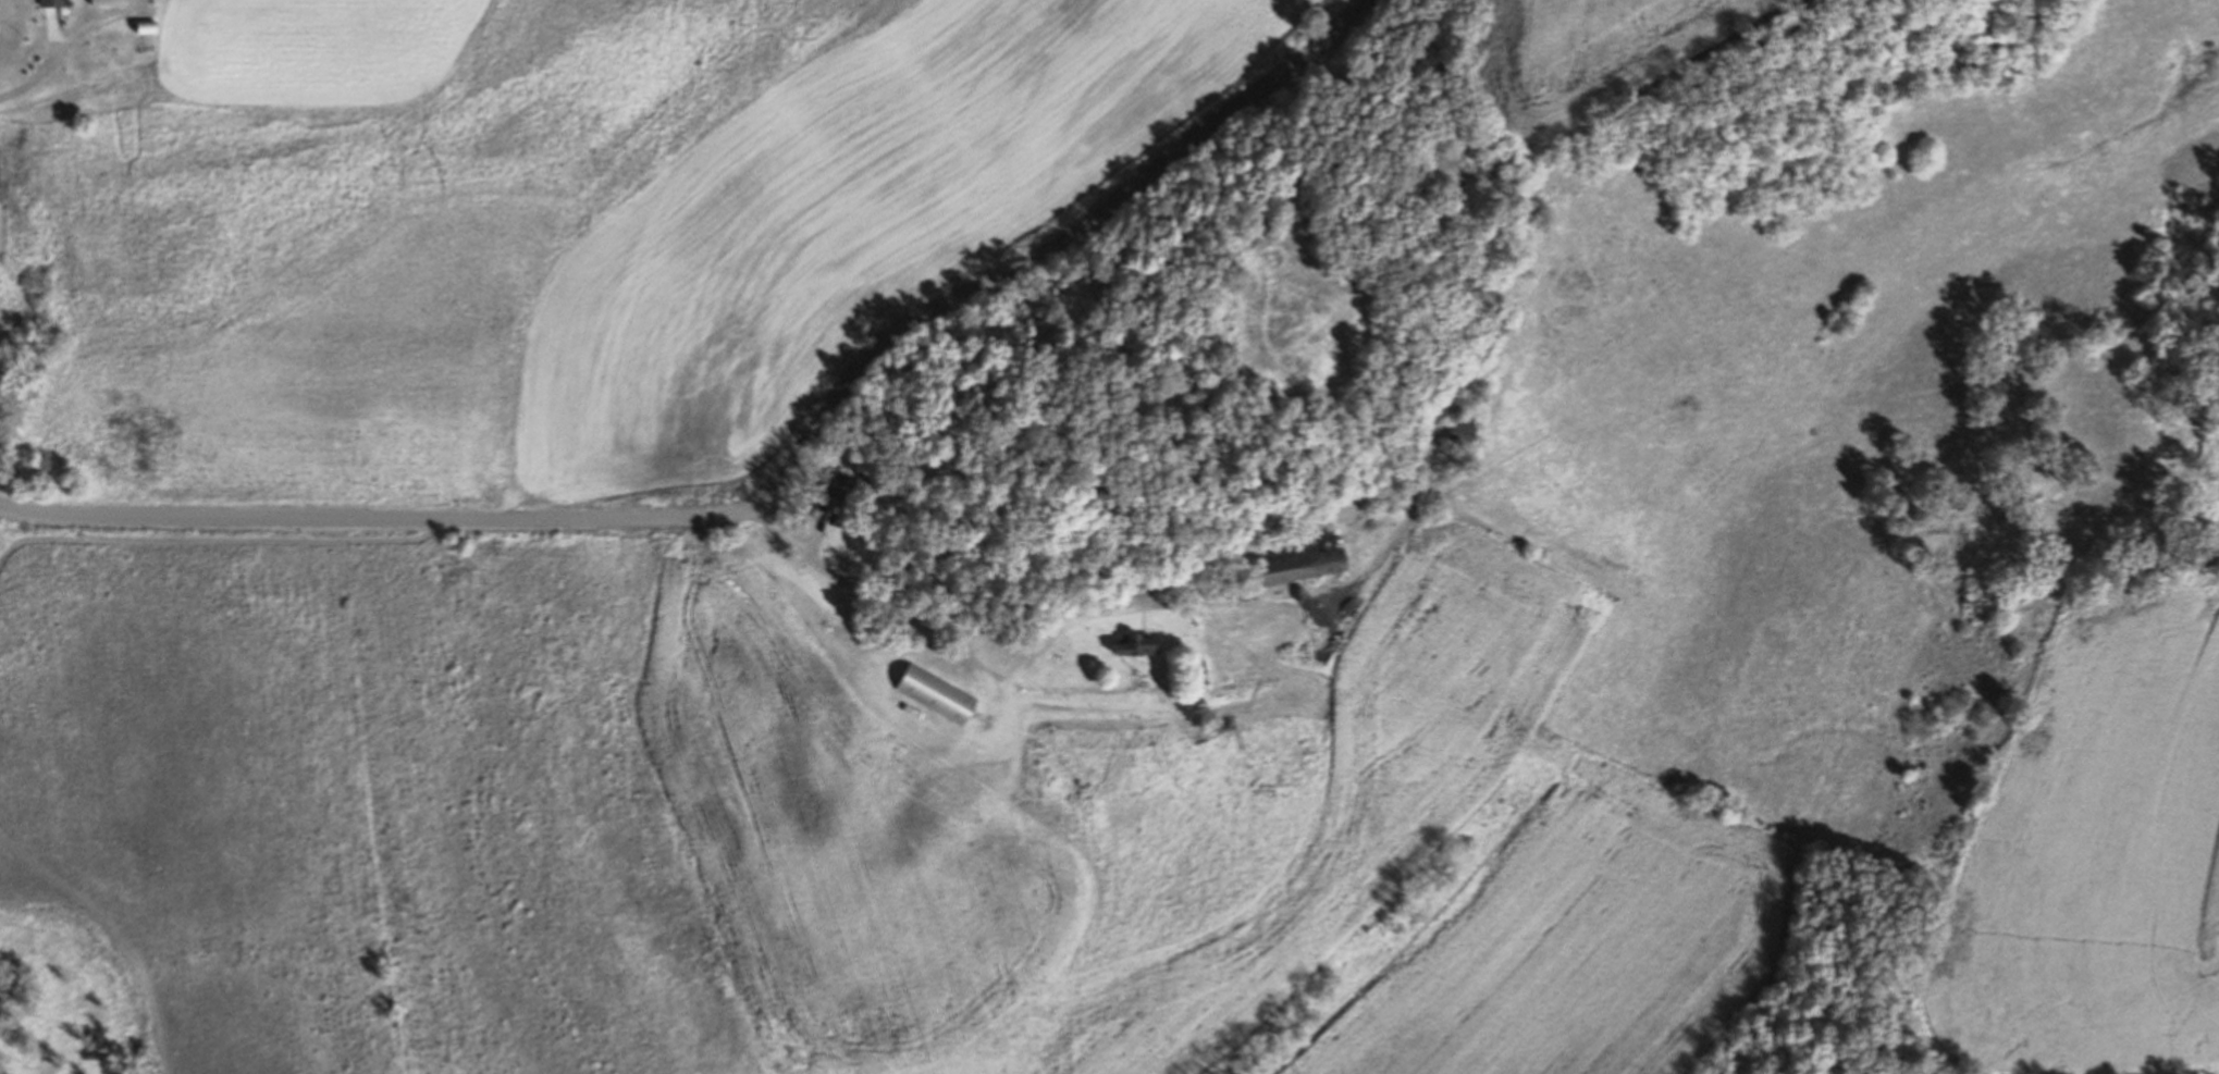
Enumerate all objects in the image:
building: (53, 2)
building: (110, 2)
building: (150, 30)
building: (1465, 432)
building: (839, 486)
road: (769, 493)
building: (1307, 567)
road: (937, 593)
building: (1139, 646)
building: (939, 696)

